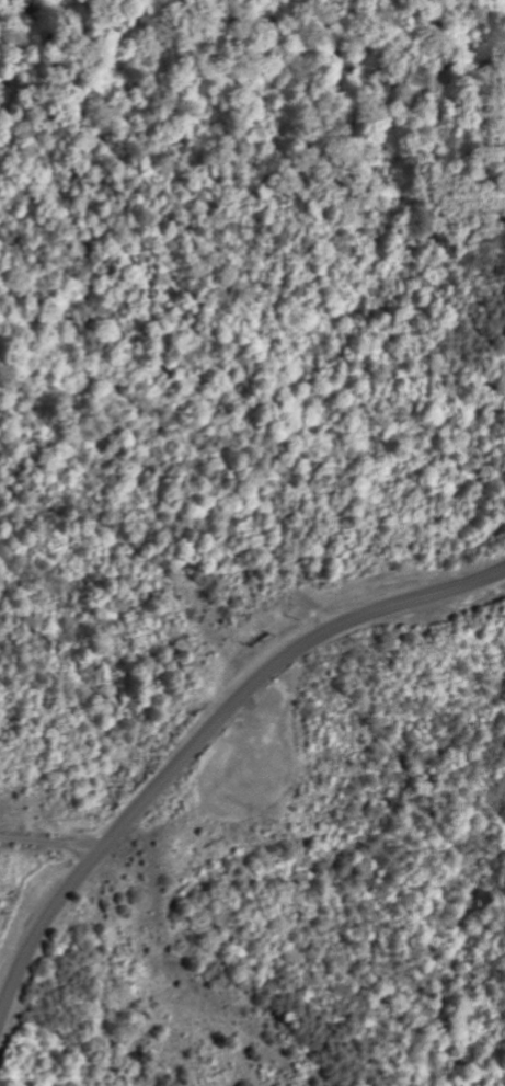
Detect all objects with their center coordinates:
road: (204, 738)
road: (49, 843)

